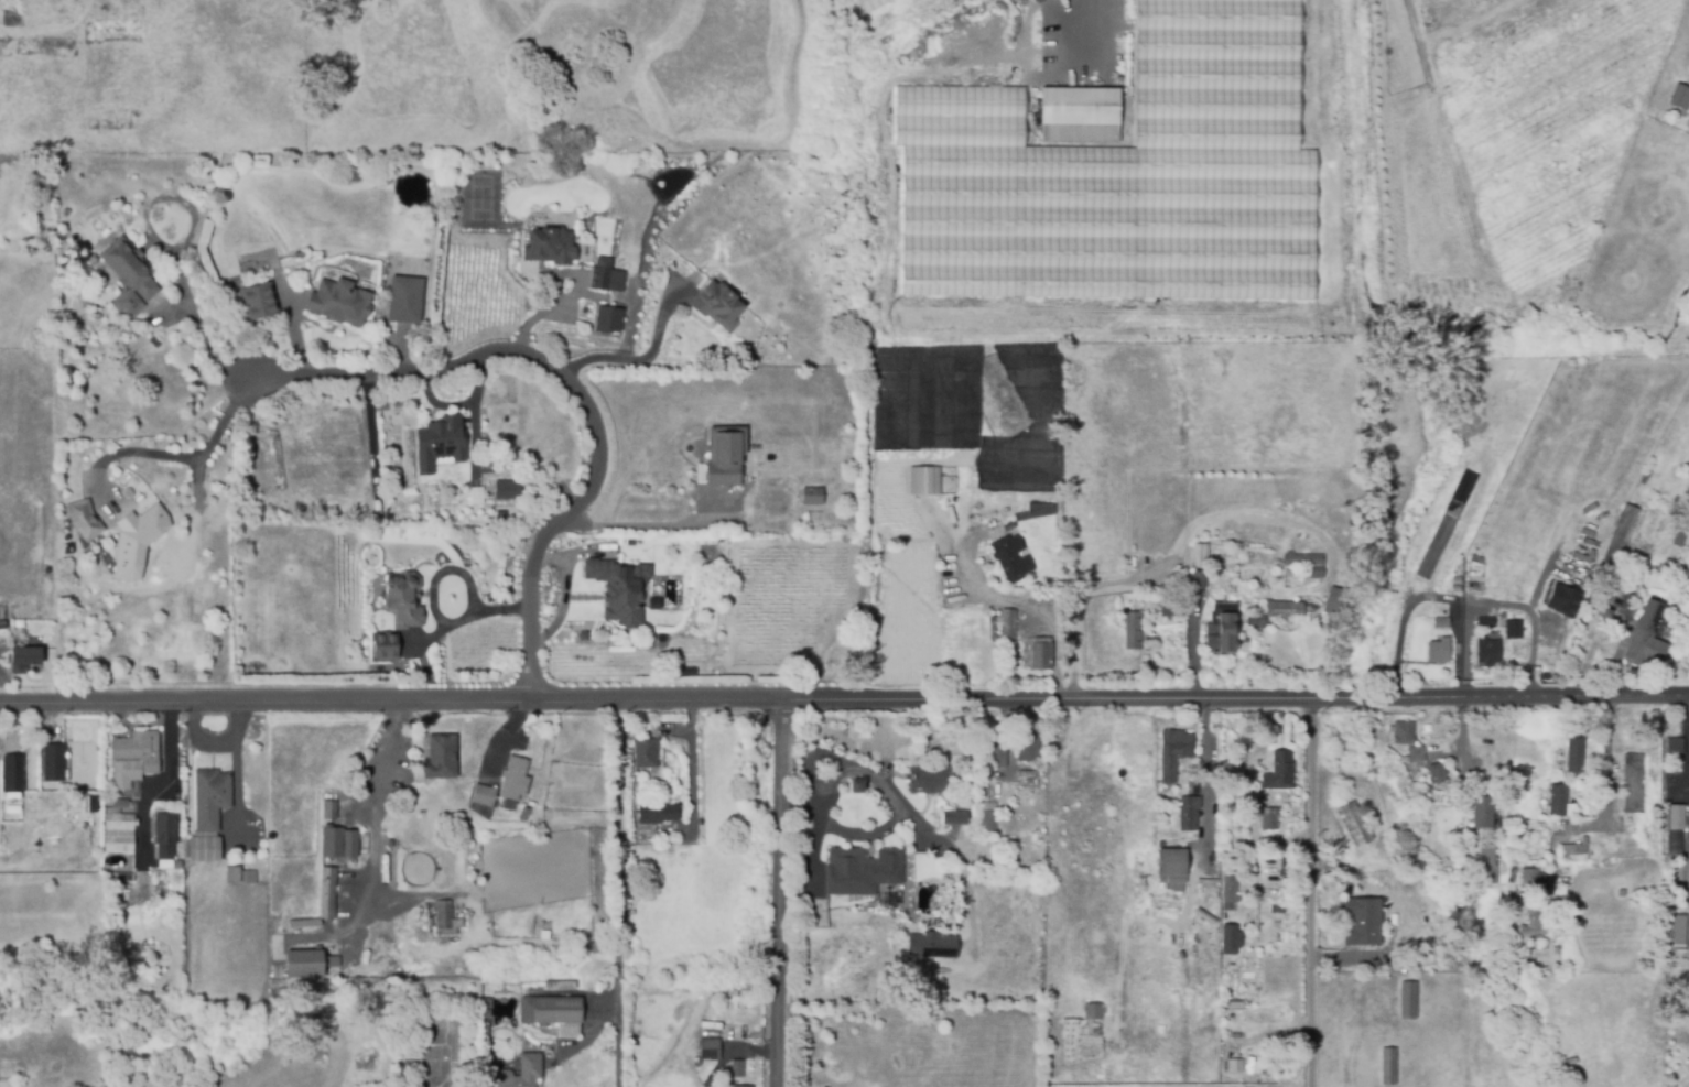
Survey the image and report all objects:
building: (869, 6)
building: (856, 7)
road: (1122, 35)
building: (1680, 97)
building: (1080, 115)
building: (1125, 175)
building: (549, 244)
building: (297, 254)
building: (128, 273)
building: (602, 280)
building: (260, 300)
building: (403, 300)
building: (340, 301)
building: (718, 304)
road: (192, 314)
building: (609, 317)
road: (297, 331)
road: (632, 360)
road: (571, 389)
building: (441, 442)
building: (726, 454)
road: (192, 457)
building: (925, 479)
building: (508, 488)
building: (813, 494)
building: (1040, 509)
building: (85, 519)
building: (1447, 522)
road: (625, 525)
building: (1680, 535)
building: (1624, 539)
building: (138, 540)
building: (1202, 554)
building: (1011, 557)
building: (1307, 563)
building: (1668, 564)
building: (1681, 566)
building: (1200, 577)
building: (1685, 578)
road: (1124, 580)
building: (1482, 581)
building: (1494, 583)
building: (620, 587)
building: (405, 599)
building: (1560, 599)
building: (1340, 600)
road: (1020, 605)
building: (1285, 607)
building: (1172, 608)
building: (1257, 618)
building: (1442, 620)
building: (1008, 621)
building: (1484, 621)
building: (3, 622)
building: (1224, 624)
building: (1134, 629)
building: (1512, 629)
building: (1522, 634)
building: (1646, 639)
road: (1190, 645)
building: (388, 646)
building: (1440, 649)
building: (1490, 649)
building: (1042, 652)
building: (25, 657)
building: (426, 667)
road: (1585, 667)
road: (844, 699)
building: (1404, 731)
building: (1027, 746)
building: (1676, 747)
building: (646, 751)
building: (1173, 751)
building: (1416, 751)
building: (997, 753)
building: (1576, 753)
building: (442, 756)
building: (134, 757)
building: (1632, 760)
road: (1606, 762)
building: (54, 763)
road: (695, 768)
building: (12, 771)
building: (1278, 771)
building: (1438, 771)
road: (1205, 772)
building: (929, 778)
road: (160, 781)
building: (515, 781)
building: (856, 787)
building: (212, 796)
building: (485, 796)
building: (1560, 800)
building: (1634, 800)
building: (121, 801)
building: (332, 808)
building: (1484, 808)
building: (13, 809)
building: (1676, 809)
building: (1189, 811)
building: (524, 812)
building: (658, 813)
building: (956, 815)
building: (989, 816)
building: (1270, 816)
building: (1355, 823)
road: (895, 824)
building: (119, 830)
building: (166, 833)
road: (375, 840)
building: (339, 841)
building: (205, 848)
building: (1485, 849)
building: (1581, 850)
building: (1173, 863)
road: (962, 867)
building: (862, 871)
building: (240, 874)
building: (1494, 874)
building: (1530, 874)
building: (1231, 876)
building: (659, 879)
building: (1209, 881)
building: (647, 888)
building: (329, 892)
road: (776, 892)
road: (1323, 892)
road: (620, 893)
road: (419, 895)
building: (1094, 909)
building: (443, 913)
building: (1364, 920)
building: (1534, 922)
building: (306, 923)
building: (1676, 926)
building: (1228, 939)
building: (932, 946)
building: (334, 961)
building: (305, 963)
building: (1408, 998)
building: (1094, 1010)
building: (555, 1012)
road: (51, 1047)
building: (711, 1047)
building: (693, 1056)
building: (696, 1065)
building: (1234, 1065)
building: (1388, 1065)
building: (738, 1066)
building: (521, 1072)
building: (741, 1085)
building: (733, 1086)

